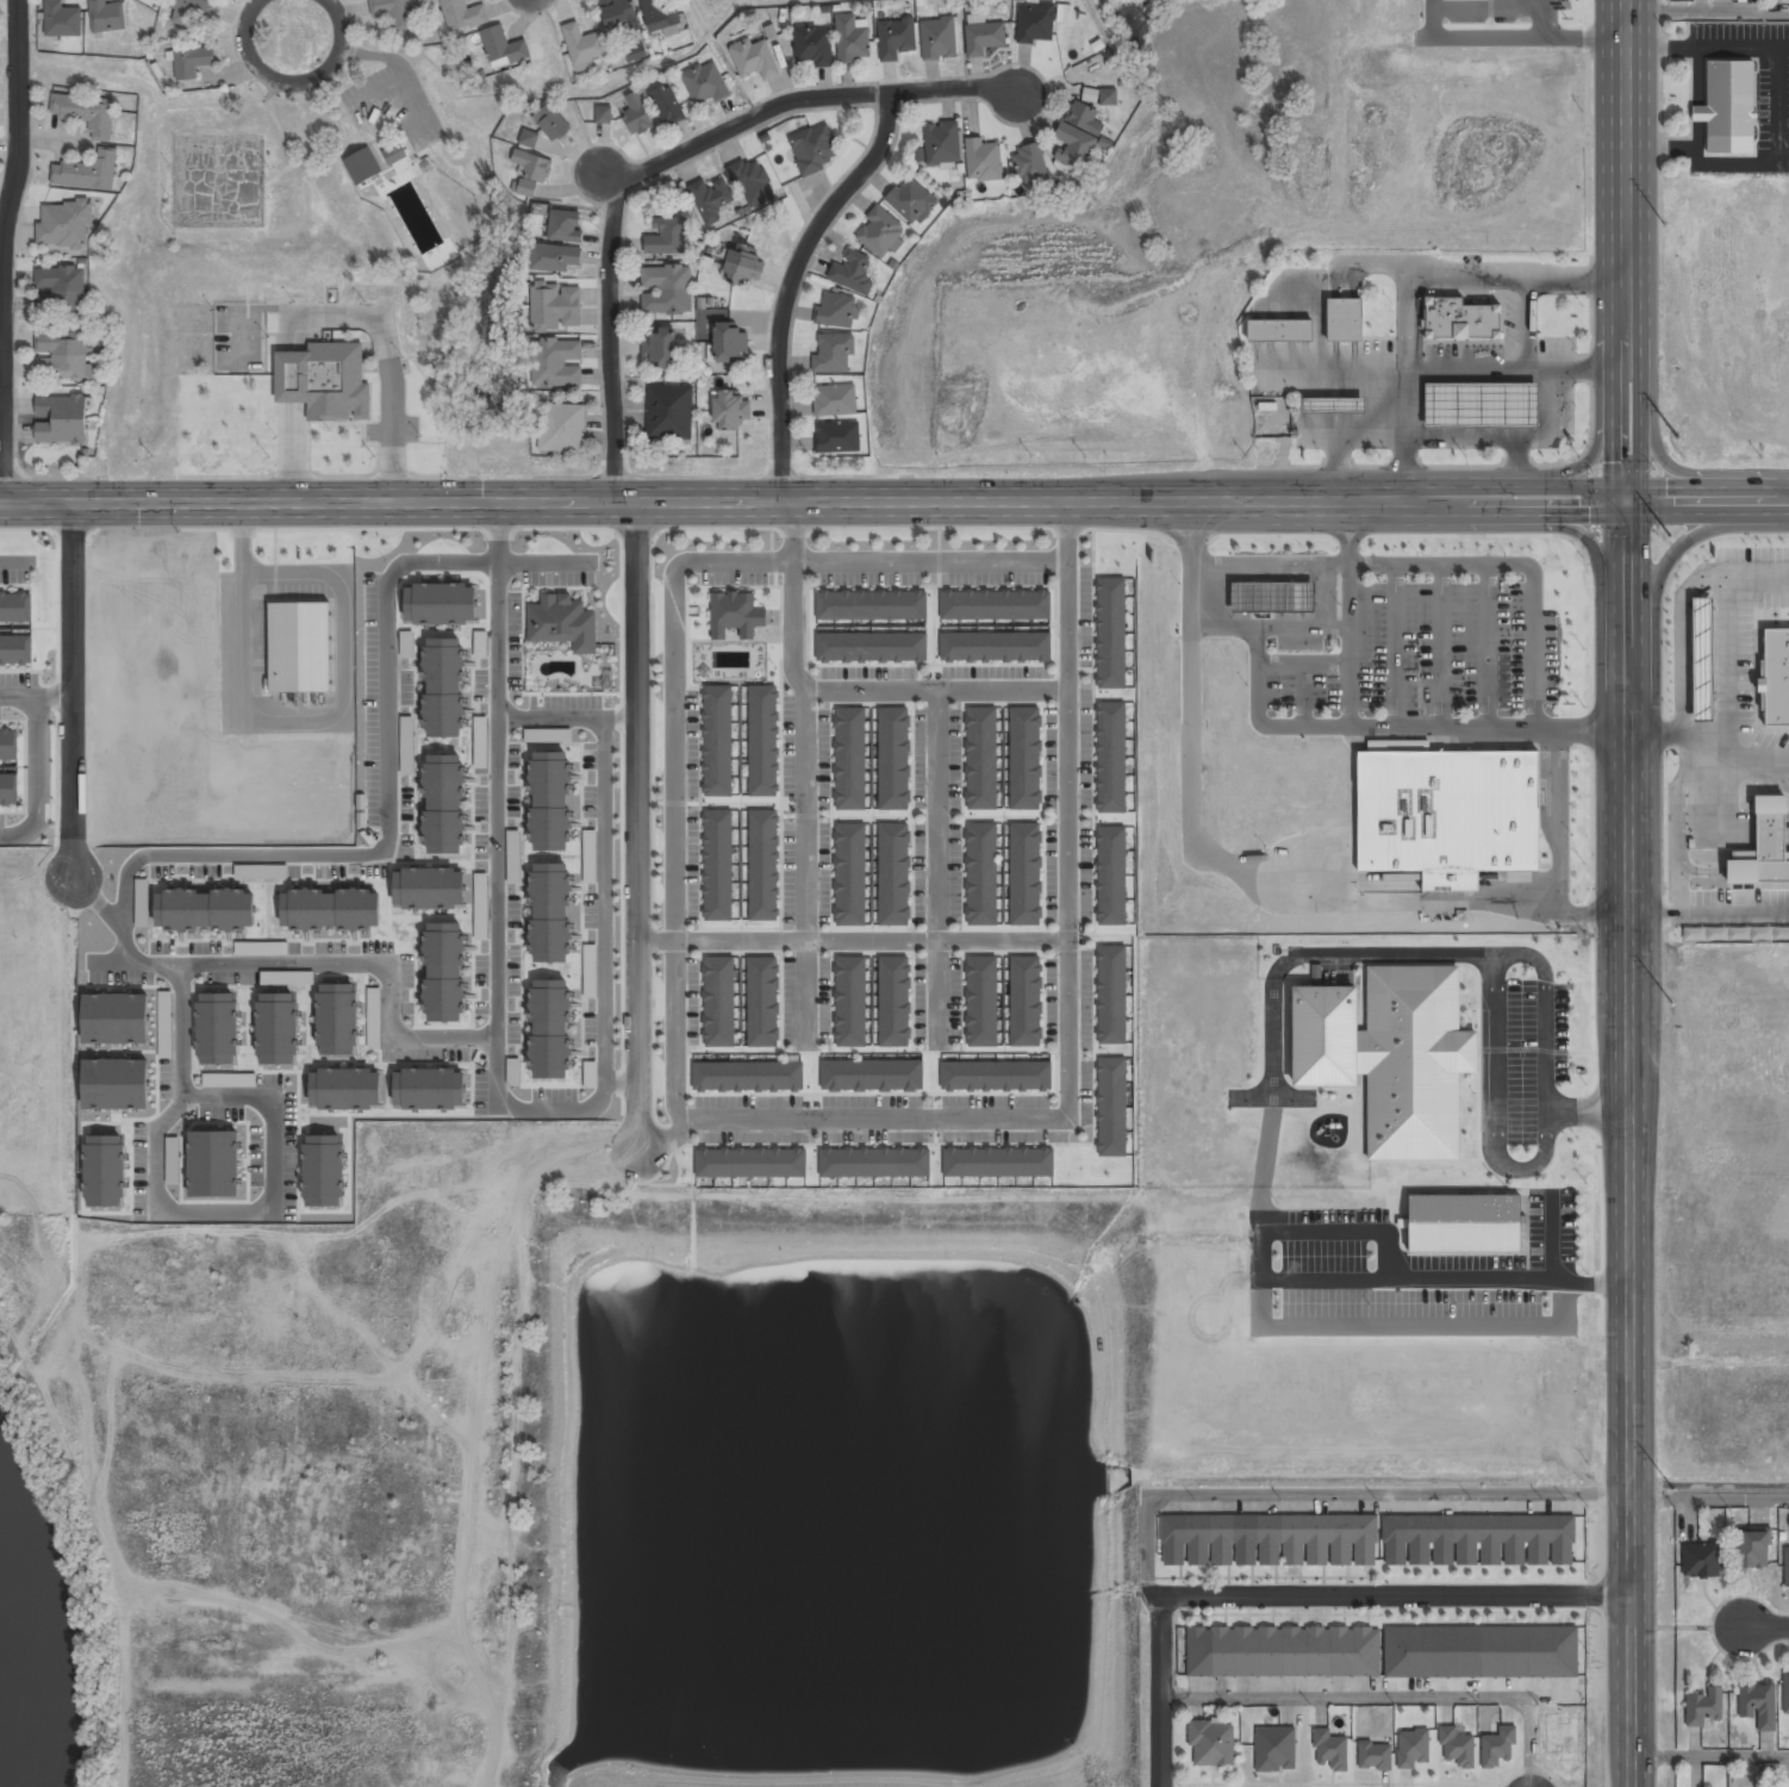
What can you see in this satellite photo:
road: (529, 4)
road: (251, 8)
road: (1708, 10)
building: (192, 11)
building: (393, 12)
building: (462, 14)
building: (617, 14)
building: (661, 14)
building: (106, 17)
building: (61, 20)
building: (1035, 23)
building: (896, 37)
building: (984, 38)
building: (852, 39)
building: (937, 39)
building: (812, 45)
building: (584, 46)
building: (503, 48)
building: (636, 52)
building: (754, 58)
building: (192, 62)
road: (655, 63)
road: (303, 79)
road: (248, 81)
road: (148, 83)
building: (705, 83)
road: (482, 93)
building: (1107, 98)
building: (1728, 100)
building: (667, 105)
building: (86, 113)
building: (637, 114)
building: (603, 116)
building: (551, 123)
building: (1078, 135)
building: (528, 138)
building: (941, 144)
road: (318, 147)
building: (815, 149)
building: (395, 155)
building: (984, 161)
road: (661, 162)
building: (1030, 166)
building: (362, 167)
park: (323, 168)
building: (88, 170)
building: (531, 172)
park: (219, 180)
building: (753, 182)
building: (710, 199)
building: (911, 201)
building: (64, 225)
building: (565, 225)
building: (880, 232)
power tower: (1663, 234)
building: (666, 237)
road: (4, 250)
road: (1626, 250)
building: (555, 259)
building: (743, 264)
building: (852, 272)
road: (788, 284)
building: (60, 291)
building: (666, 291)
building: (555, 307)
building: (839, 311)
building: (1458, 318)
building: (1345, 320)
road: (0, 323)
building: (1279, 331)
building: (730, 343)
building: (660, 348)
building: (833, 354)
building: (62, 356)
building: (556, 363)
building: (325, 382)
building: (835, 400)
building: (1481, 405)
building: (1334, 406)
building: (729, 411)
building: (669, 412)
building: (60, 419)
building: (561, 428)
building: (837, 437)
traffic signals: (1626, 500)
road: (1707, 500)
road: (812, 502)
road: (792, 531)
power tower: (1671, 536)
road: (14, 561)
road: (681, 561)
building: (441, 603)
building: (871, 605)
building: (996, 605)
building: (15, 606)
building: (735, 615)
building: (562, 622)
building: (1111, 634)
building: (300, 646)
building: (871, 647)
building: (995, 647)
building: (15, 649)
building: (443, 687)
road: (869, 687)
road: (71, 691)
road: (36, 697)
road: (565, 716)
building: (480, 726)
building: (717, 741)
building: (762, 742)
building: (8, 745)
building: (407, 746)
building: (893, 755)
building: (1110, 756)
building: (849, 758)
building: (1024, 758)
building: (981, 759)
road: (38, 779)
building: (8, 789)
building: (549, 801)
road: (494, 802)
building: (443, 804)
road: (386, 807)
building: (1444, 811)
road: (635, 827)
building: (717, 866)
building: (763, 866)
road: (803, 866)
road: (936, 866)
building: (261, 871)
building: (1024, 873)
building: (849, 874)
building: (893, 874)
building: (981, 874)
building: (1110, 874)
building: (480, 880)
building: (429, 888)
road: (604, 898)
building: (205, 909)
building: (331, 909)
building: (550, 913)
road: (869, 939)
road: (1372, 958)
road: (324, 963)
road: (1489, 969)
building: (444, 972)
building: (301, 977)
building: (1111, 994)
building: (981, 1001)
building: (1024, 1001)
building: (718, 1002)
building: (762, 1002)
building: (850, 1002)
building: (893, 1002)
power tower: (1671, 1002)
road: (673, 1014)
building: (373, 1017)
building: (116, 1019)
building: (337, 1019)
building: (164, 1025)
building: (217, 1028)
building: (278, 1028)
building: (549, 1028)
road: (1066, 1031)
building: (1384, 1052)
parking lot: (1521, 1063)
building: (871, 1075)
building: (995, 1075)
building: (747, 1076)
building: (116, 1083)
building: (429, 1088)
building: (345, 1089)
building: (1111, 1107)
road: (572, 1110)
road: (1633, 1142)
building: (874, 1162)
building: (998, 1162)
building: (213, 1163)
building: (750, 1163)
building: (105, 1170)
building: (323, 1170)
road: (179, 1210)
parking lot: (1322, 1219)
building: (1465, 1223)
parking lot: (1554, 1223)
parking lot: (1324, 1257)
road: (1332, 1287)
power tower: (1666, 1484)
road: (1710, 1495)
building: (1366, 1542)
building: (1752, 1551)
building: (1701, 1561)
building: (1787, 1567)
road: (1396, 1598)
road: (1769, 1631)
road: (1160, 1638)
building: (1383, 1652)
building: (1787, 1693)
road: (1389, 1699)
building: (1758, 1705)
building: (1704, 1708)
building: (1211, 1742)
building: (1457, 1746)
building: (1497, 1746)
building: (1411, 1748)
building: (1274, 1749)
building: (1330, 1749)
building: (1373, 1755)
road: (1709, 1760)

